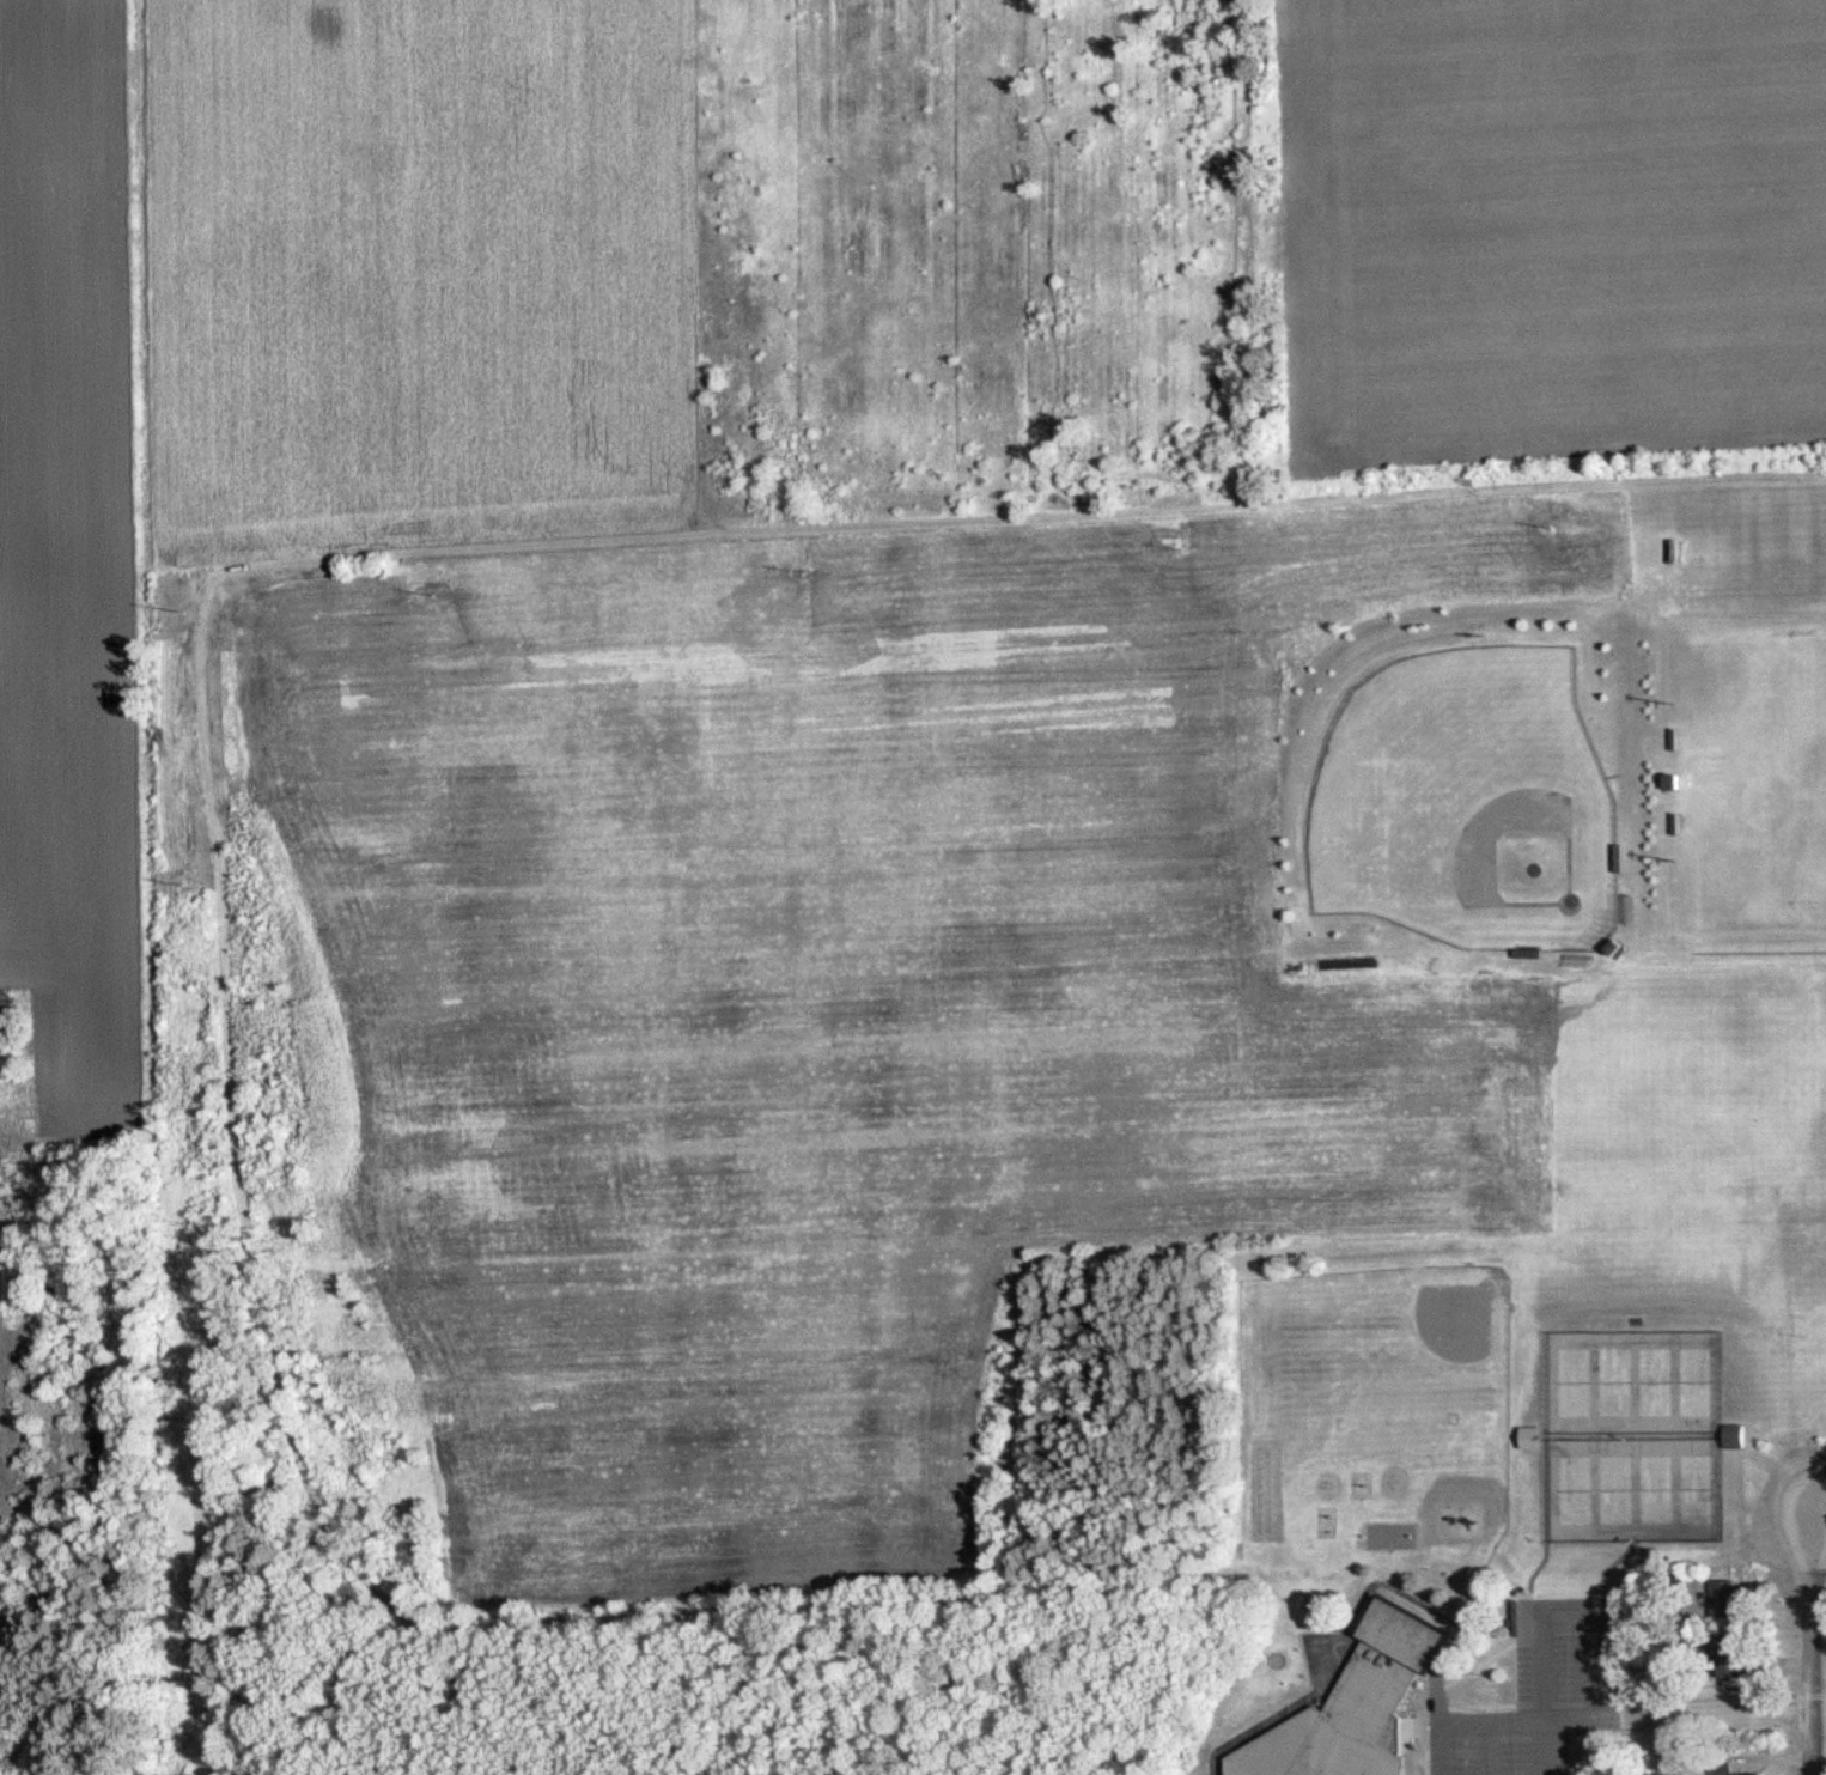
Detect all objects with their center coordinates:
park: (1741, 761)
park: (1449, 780)
park: (1399, 1330)
park: (1676, 1362)
park: (1554, 1363)
park: (1595, 1364)
park: (1635, 1364)
building: (1735, 1435)
building: (1534, 1436)
park: (1676, 1470)
park: (1553, 1472)
park: (1596, 1472)
park: (1637, 1472)
building: (1725, 1600)
road: (1808, 1606)
building: (1723, 1658)
building: (1357, 1706)
road: (1691, 1718)
building: (1723, 1764)

